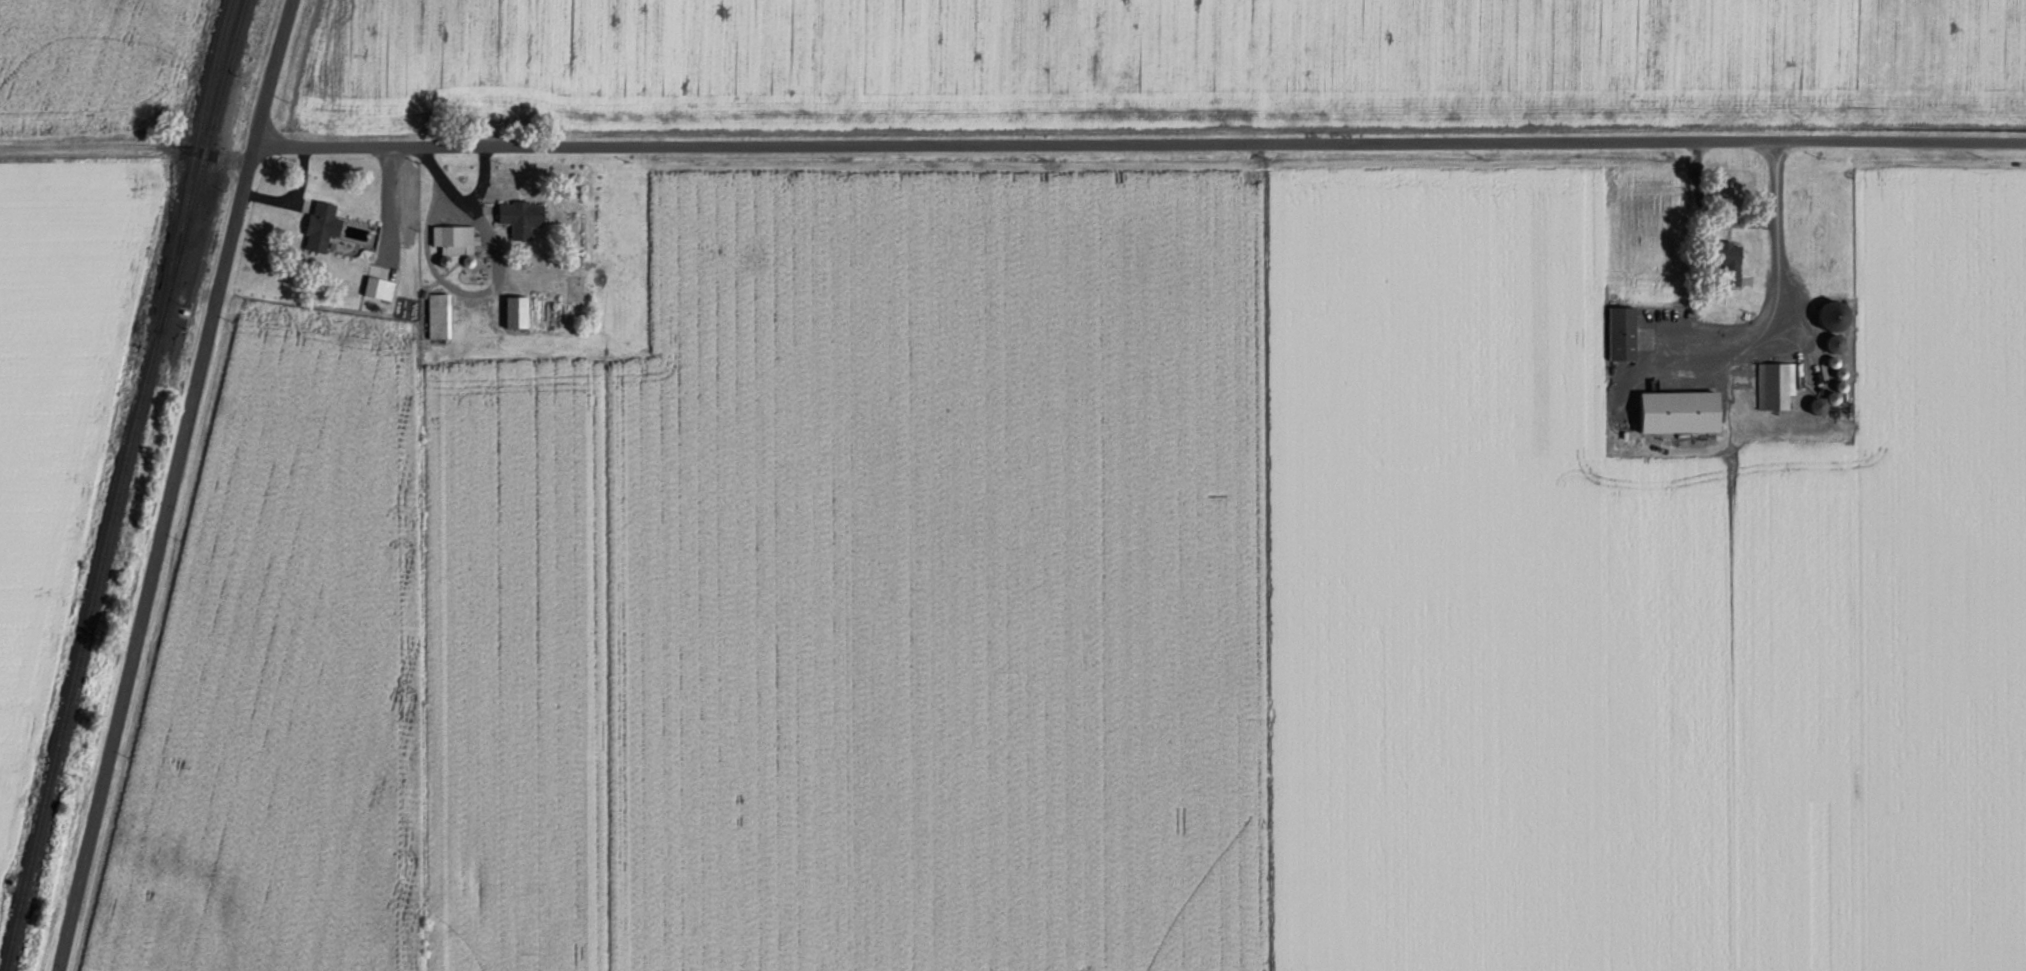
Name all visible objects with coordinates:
road: (1139, 144)
road: (124, 146)
railway: (192, 164)
railway: (201, 164)
building: (522, 216)
building: (322, 225)
building: (458, 234)
building: (1730, 260)
building: (517, 311)
building: (440, 315)
building: (1623, 332)
building: (1776, 385)
building: (1681, 411)
road: (171, 484)
railway: (79, 650)

